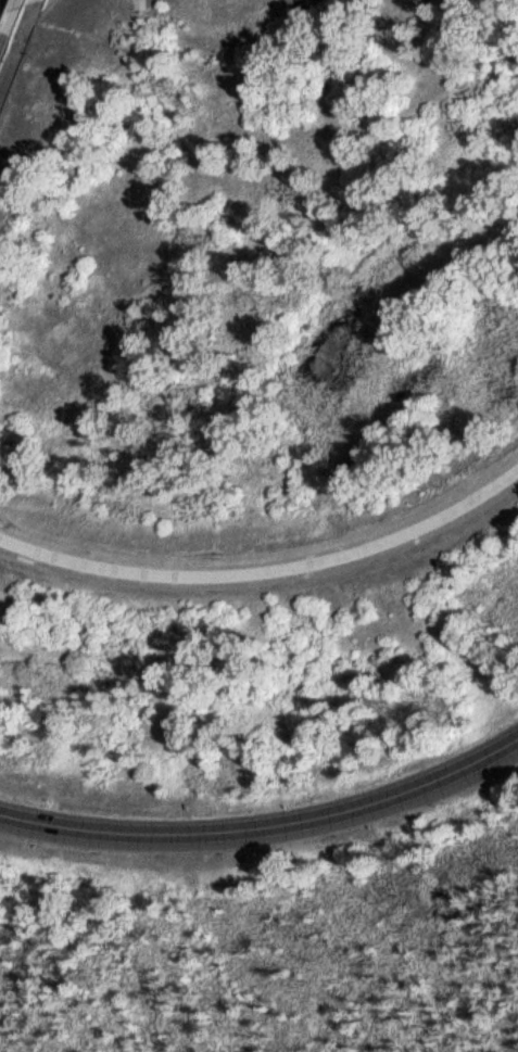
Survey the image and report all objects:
road: (13, 33)
road: (0, 66)
road: (268, 566)
road: (266, 823)

